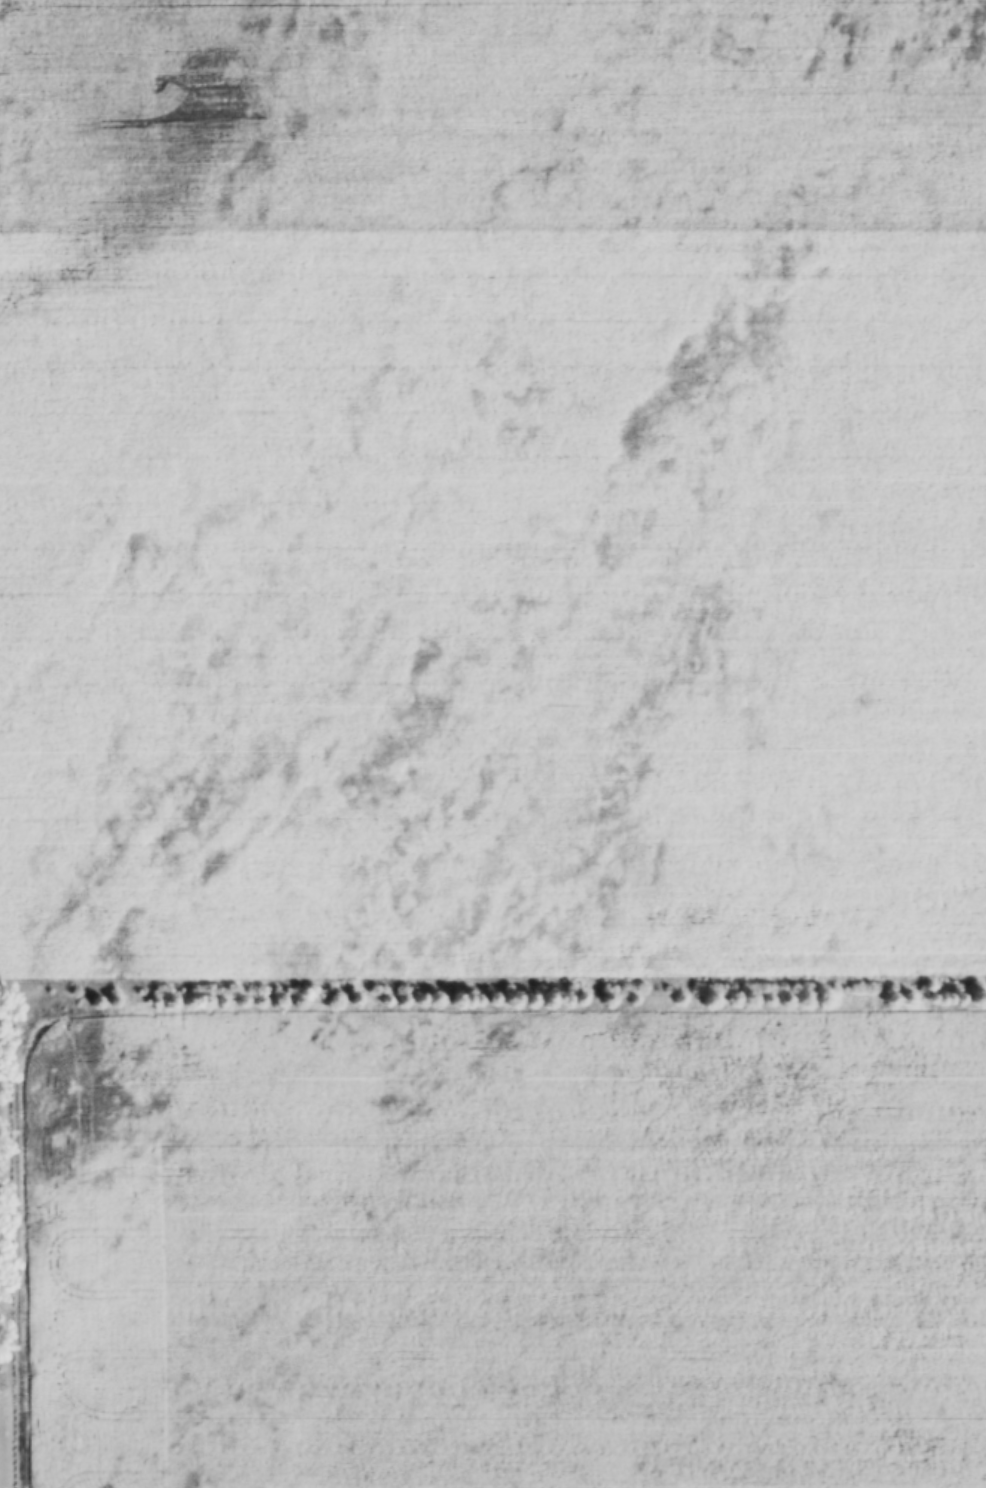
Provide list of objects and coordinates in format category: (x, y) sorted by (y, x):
road: (493, 992)

